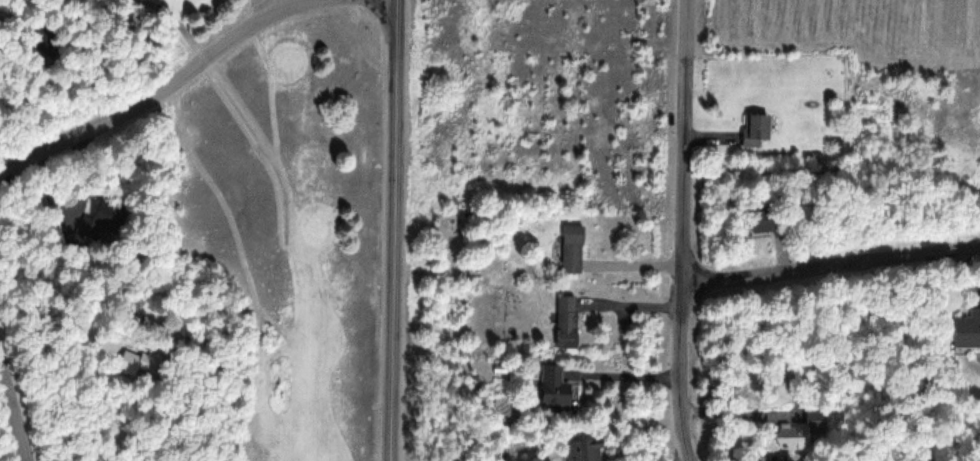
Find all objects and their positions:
road: (156, 93)
road: (235, 105)
building: (756, 129)
building: (107, 220)
park: (190, 229)
road: (394, 230)
road: (680, 231)
building: (572, 249)
road: (828, 262)
building: (566, 320)
building: (968, 330)
building: (555, 386)
road: (13, 416)
building: (583, 450)

